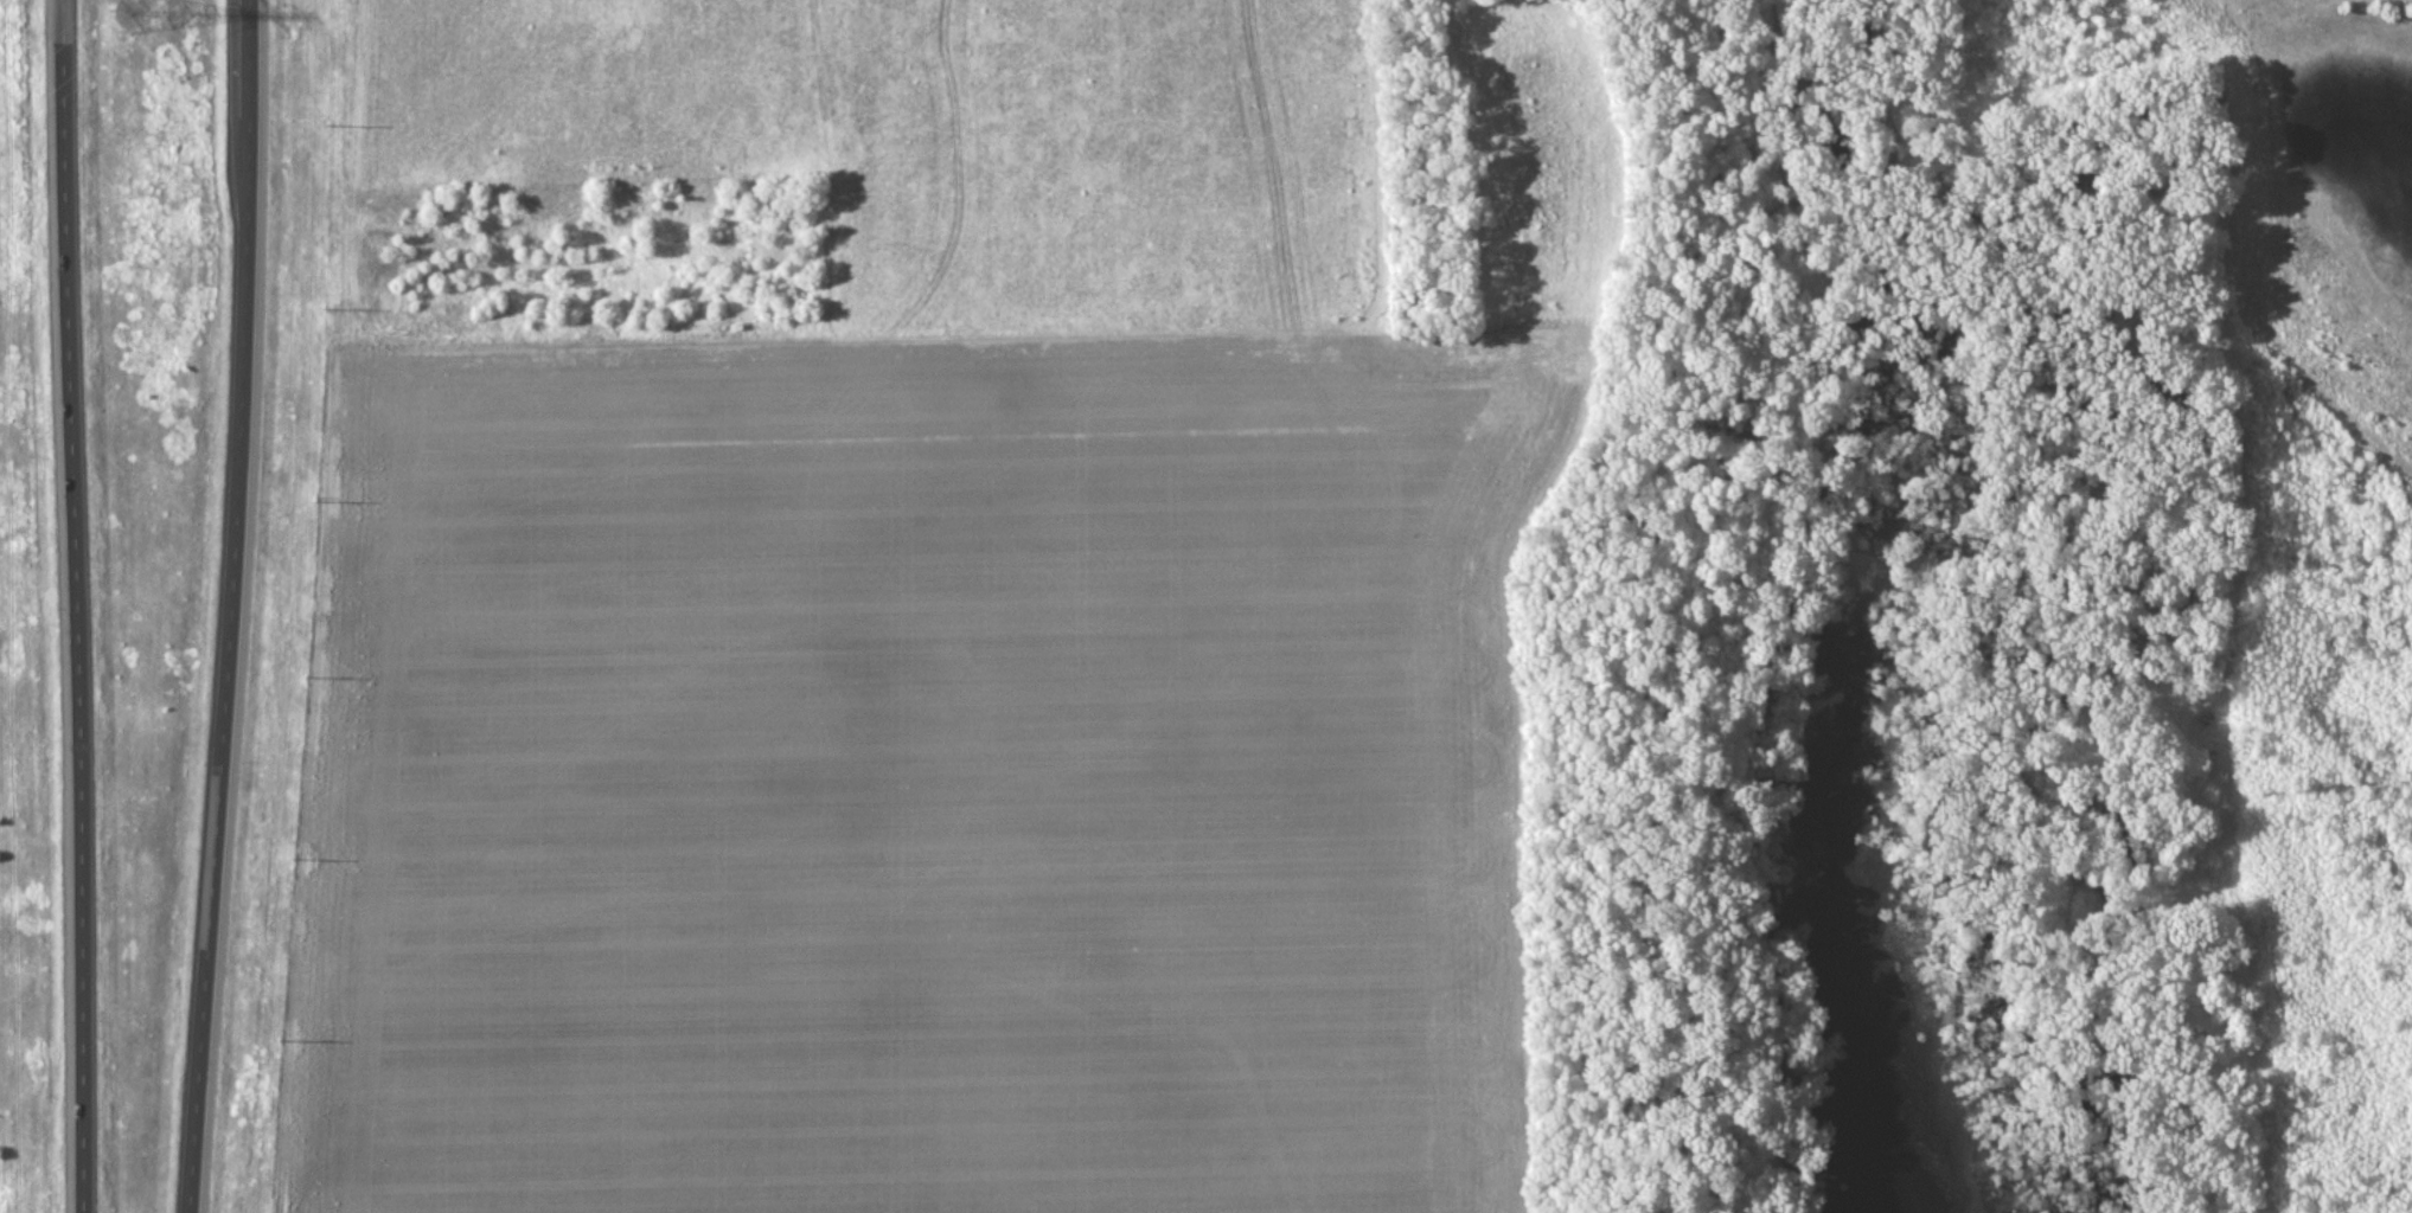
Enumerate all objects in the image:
power tower: (134, 13)
road: (75, 605)
road: (231, 606)

